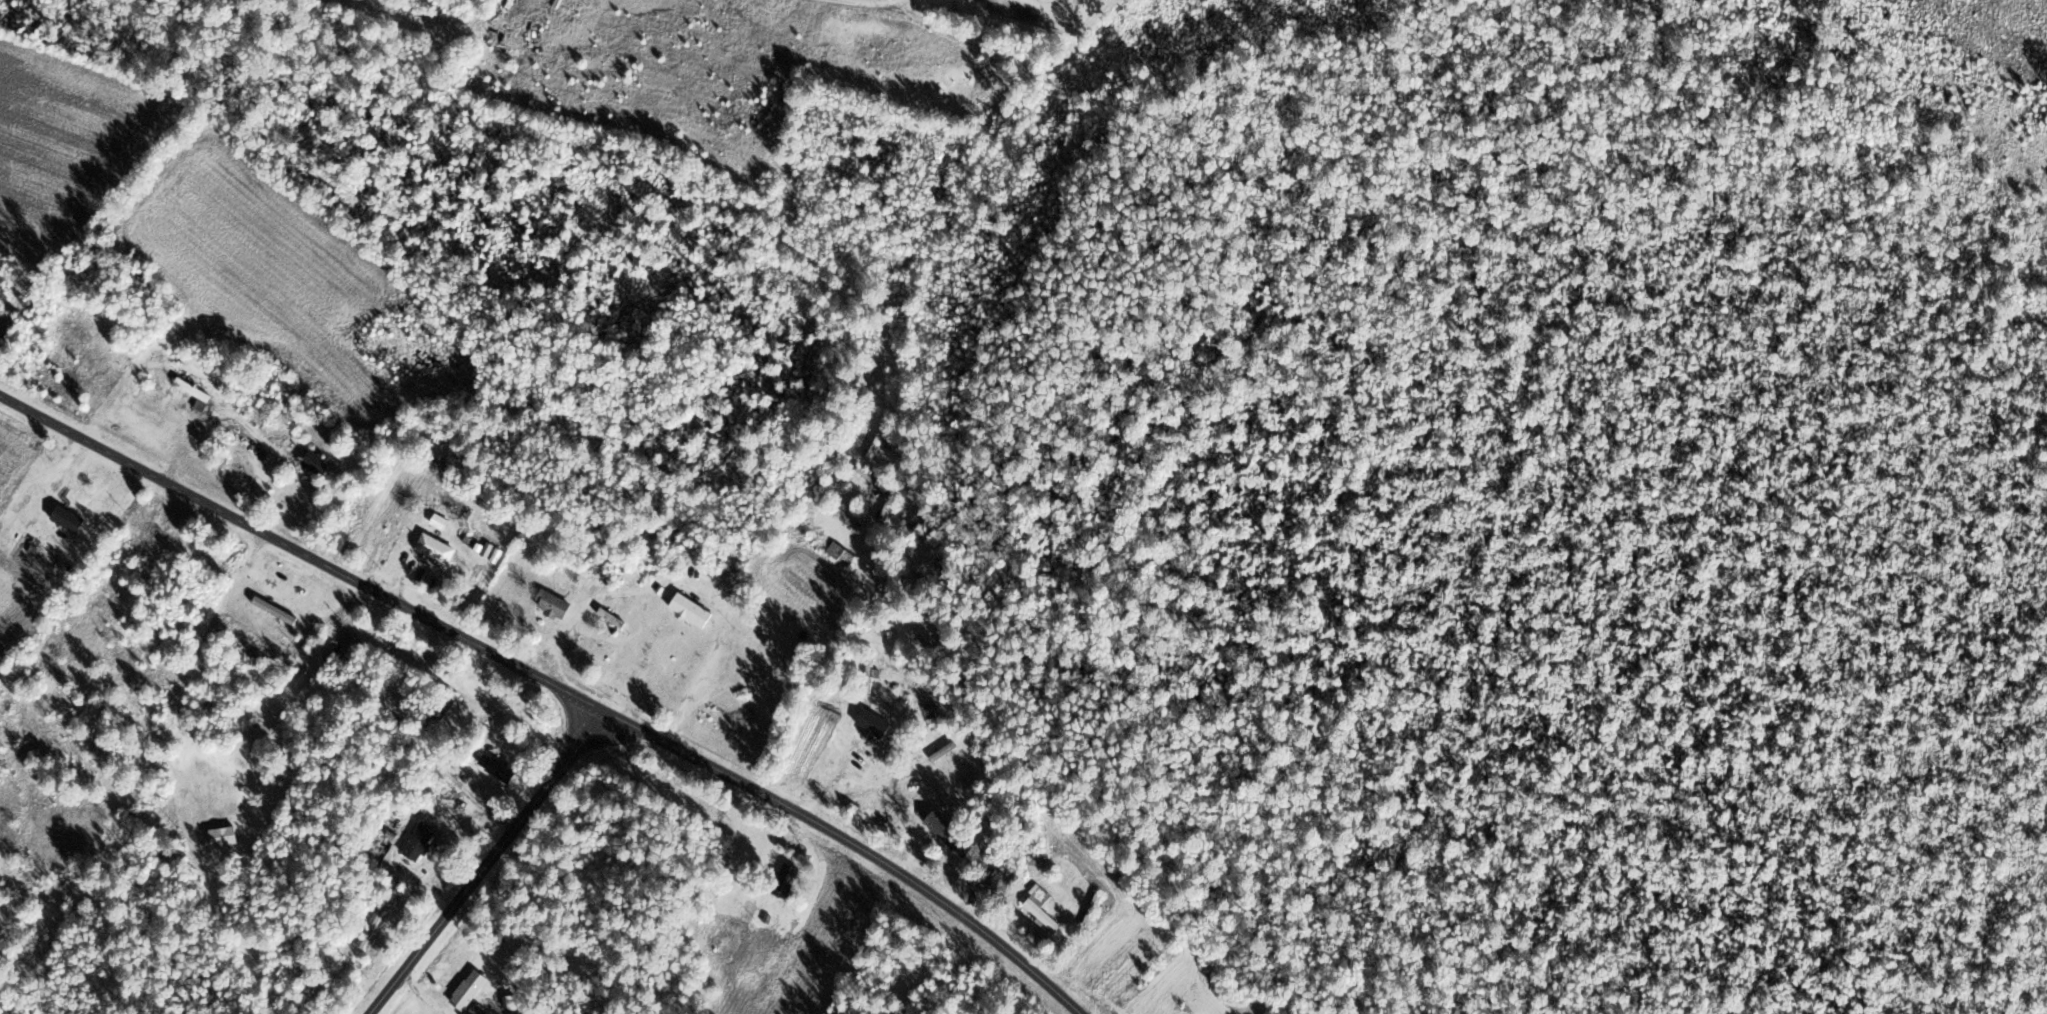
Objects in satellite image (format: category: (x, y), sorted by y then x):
road: (935, 161)
road: (849, 324)
building: (317, 463)
building: (873, 478)
building: (889, 509)
building: (68, 519)
building: (440, 522)
building: (437, 549)
building: (841, 554)
building: (553, 605)
building: (691, 609)
building: (928, 639)
building: (350, 649)
building: (870, 675)
road: (542, 695)
building: (874, 725)
building: (498, 768)
building: (950, 834)
building: (224, 836)
building: (420, 841)
road: (487, 863)
building: (785, 880)
building: (1042, 908)
building: (1093, 911)
building: (372, 926)
building: (469, 990)

